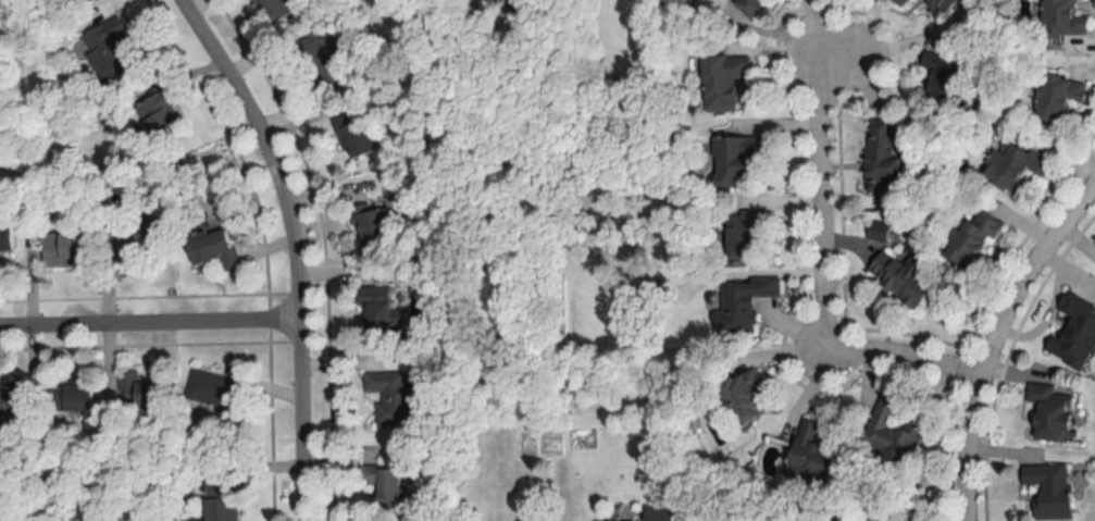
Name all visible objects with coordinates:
building: (74, 1)
building: (898, 2)
building: (942, 4)
building: (749, 8)
building: (274, 10)
building: (1061, 20)
building: (104, 48)
building: (322, 59)
building: (941, 79)
building: (721, 82)
building: (1057, 97)
building: (155, 117)
building: (354, 139)
building: (879, 157)
building: (731, 160)
building: (1012, 166)
building: (371, 226)
building: (743, 236)
building: (4, 238)
building: (139, 239)
building: (968, 240)
road: (291, 247)
building: (212, 248)
building: (63, 250)
road: (820, 268)
building: (900, 280)
building: (742, 302)
building: (374, 312)
road: (148, 326)
building: (1073, 333)
road: (994, 336)
building: (215, 387)
building: (140, 392)
building: (743, 395)
building: (69, 397)
building: (389, 397)
building: (9, 400)
building: (1048, 412)
building: (888, 433)
building: (810, 455)
building: (381, 482)
building: (1047, 489)
building: (219, 500)
building: (656, 513)

